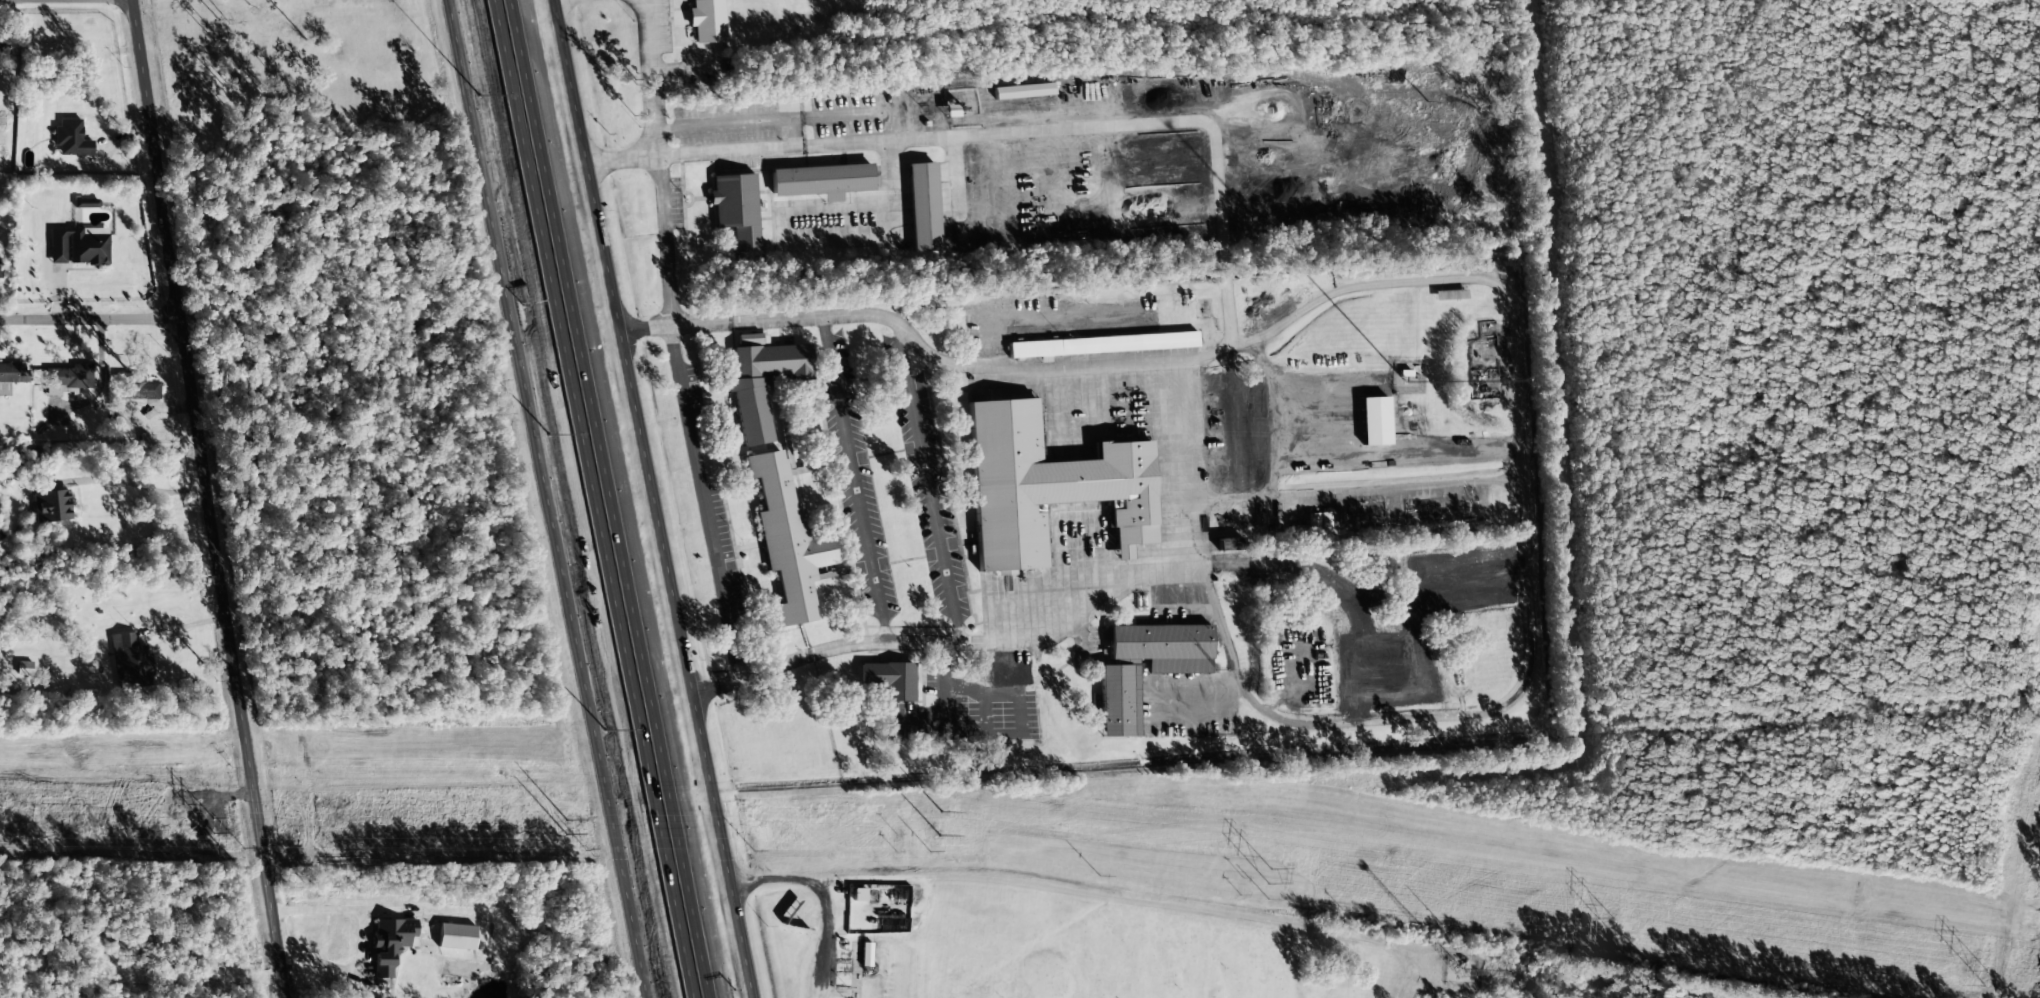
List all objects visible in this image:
building: (722, 17)
building: (1025, 91)
road: (1017, 130)
building: (71, 138)
building: (836, 174)
building: (937, 200)
building: (752, 201)
building: (85, 203)
building: (923, 207)
building: (78, 247)
building: (0, 270)
road: (90, 320)
road: (693, 336)
building: (1115, 338)
road: (946, 350)
building: (11, 376)
building: (67, 380)
building: (761, 380)
building: (137, 388)
road: (874, 474)
building: (1060, 480)
road: (945, 481)
road: (611, 498)
road: (208, 499)
road: (544, 499)
road: (590, 499)
road: (652, 499)
building: (51, 506)
building: (804, 535)
building: (1, 536)
building: (1230, 544)
road: (1549, 624)
road: (849, 645)
building: (130, 661)
building: (906, 673)
building: (890, 679)
building: (1133, 700)
power tower: (211, 825)
power tower: (921, 828)
power tower: (569, 831)
road: (1097, 885)
power tower: (1611, 928)
road: (847, 936)
building: (456, 937)
park: (1112, 938)
building: (390, 943)

